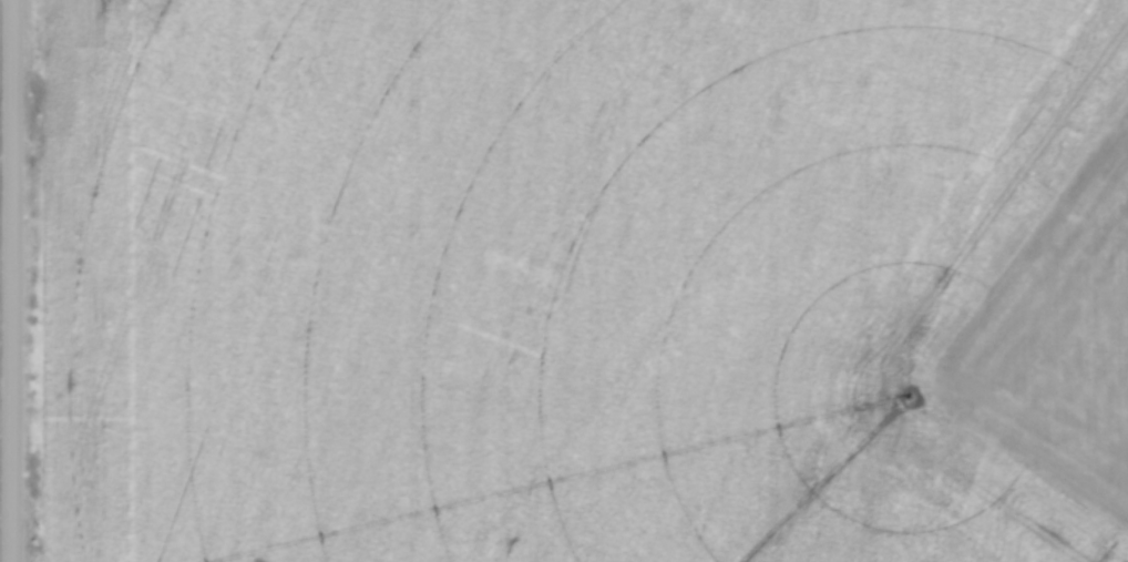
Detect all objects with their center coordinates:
crop: (2, 278)
road: (16, 280)
crop: (586, 280)

